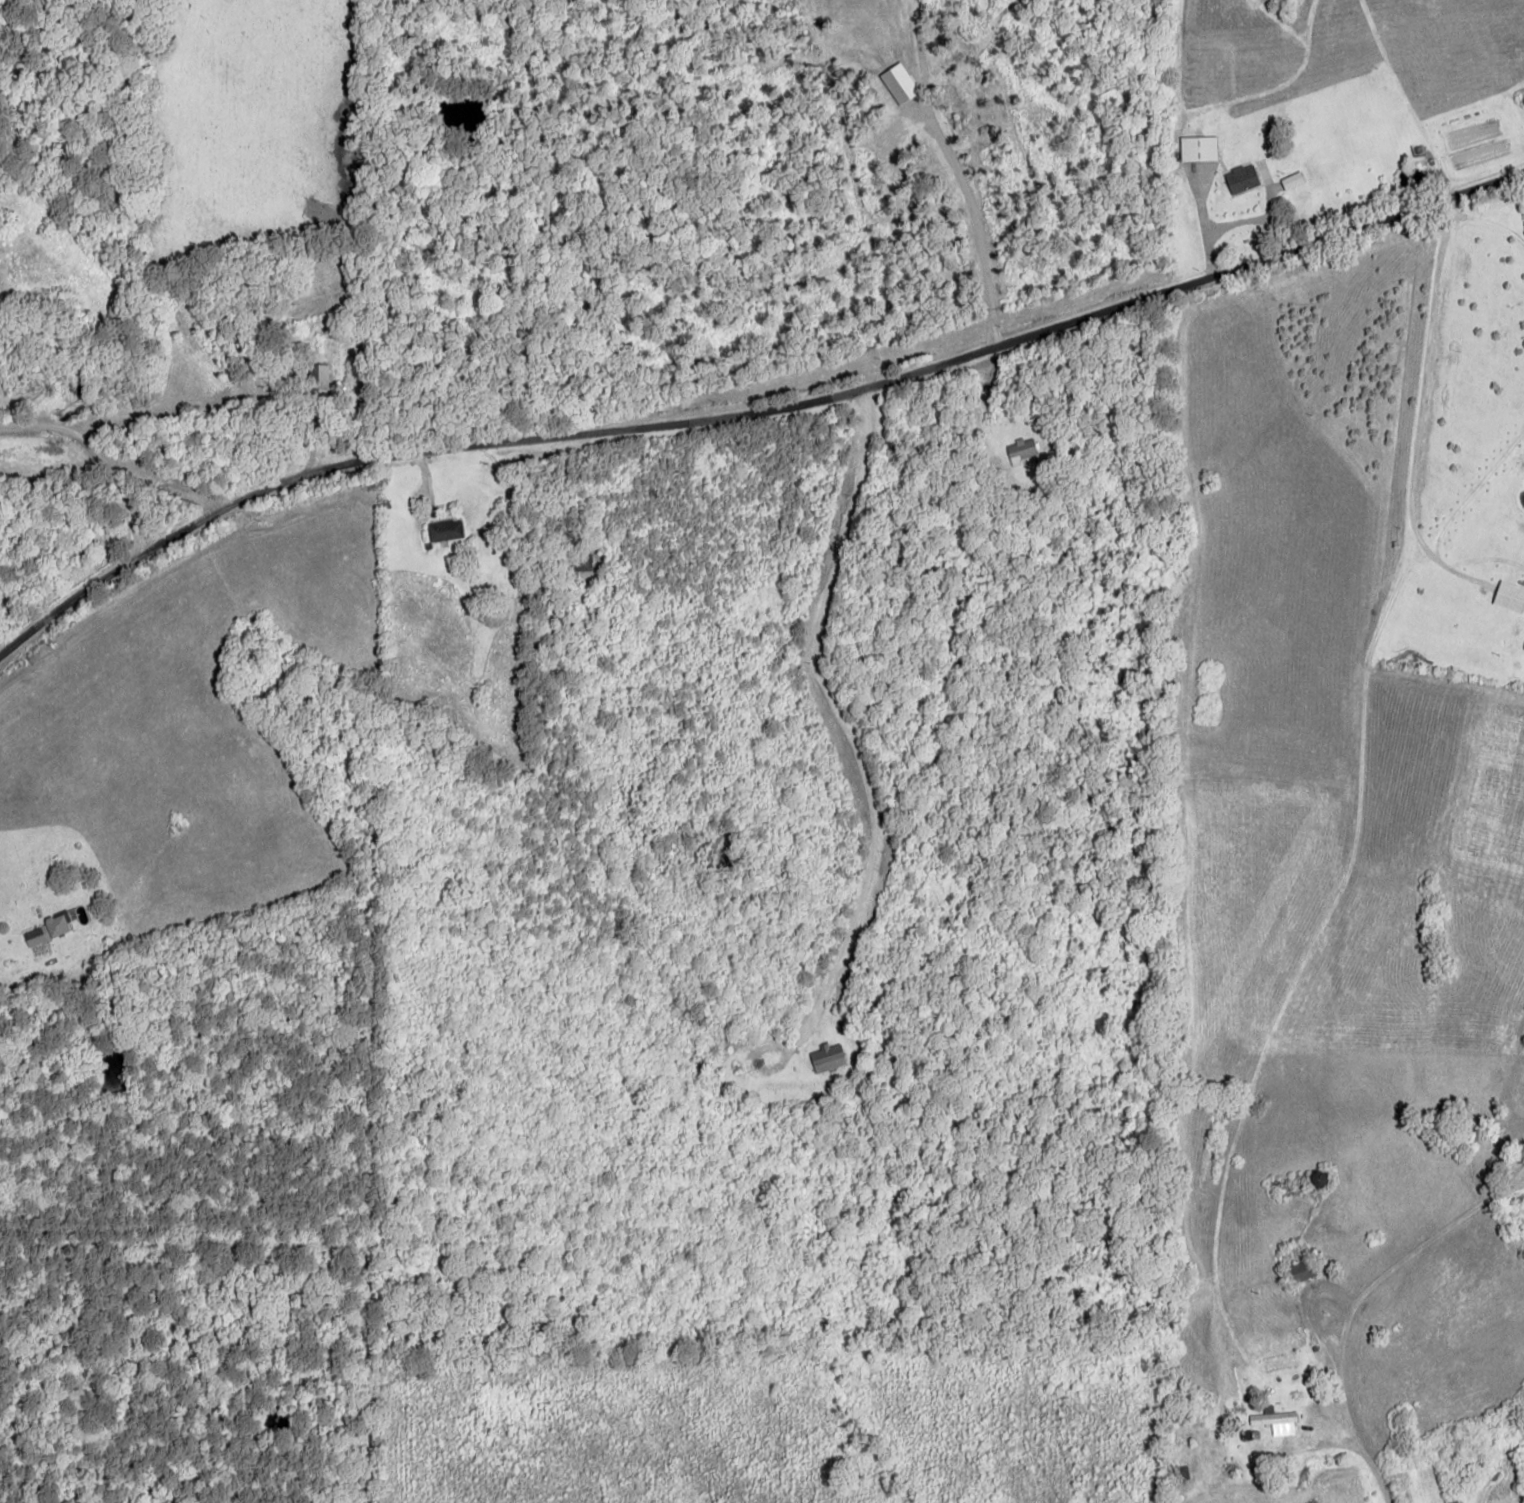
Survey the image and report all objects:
building: (898, 83)
building: (1198, 148)
building: (1241, 178)
road: (986, 222)
building: (318, 378)
road: (747, 409)
building: (1021, 450)
road: (104, 461)
building: (446, 530)
building: (1523, 648)
building: (47, 930)
building: (827, 1058)
building: (1301, 1272)
road: (1331, 1301)
building: (1272, 1416)

